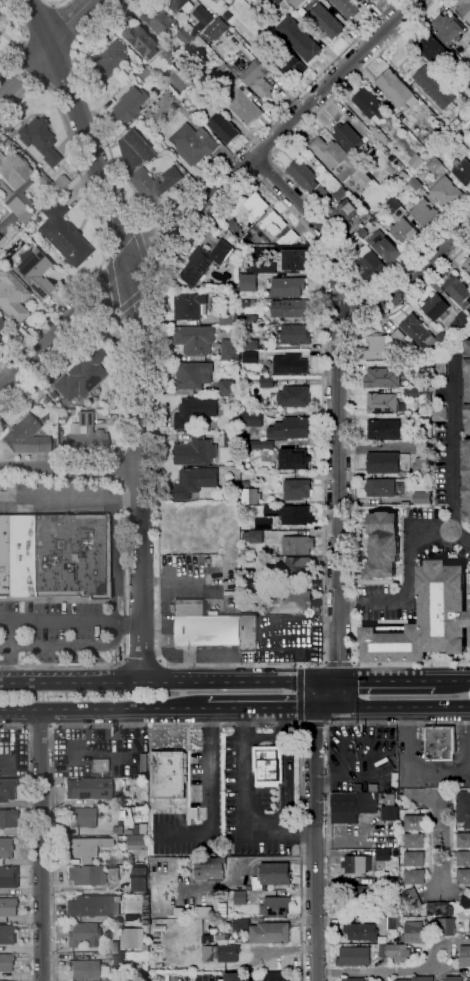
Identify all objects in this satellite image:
building: (215, 0)
building: (303, 0)
building: (306, 0)
building: (371, 0)
building: (373, 0)
road: (56, 2)
building: (206, 2)
building: (294, 2)
building: (271, 3)
building: (175, 5)
building: (296, 7)
building: (347, 7)
building: (464, 9)
building: (229, 16)
road: (39, 19)
road: (68, 19)
building: (154, 19)
building: (202, 19)
building: (324, 21)
building: (220, 26)
building: (448, 28)
road: (22, 32)
building: (186, 36)
building: (298, 39)
building: (137, 40)
building: (200, 40)
road: (46, 45)
building: (203, 45)
building: (469, 50)
building: (435, 52)
building: (167, 55)
building: (288, 63)
road: (28, 64)
building: (107, 67)
building: (465, 72)
building: (142, 73)
building: (189, 75)
building: (256, 75)
building: (227, 76)
road: (66, 86)
building: (469, 86)
building: (394, 88)
building: (205, 93)
building: (439, 94)
building: (170, 97)
building: (127, 105)
building: (370, 105)
building: (173, 106)
building: (244, 106)
building: (166, 114)
building: (465, 116)
building: (224, 128)
building: (379, 134)
building: (348, 137)
building: (39, 139)
building: (193, 144)
building: (456, 145)
building: (132, 149)
building: (391, 151)
building: (339, 161)
building: (416, 161)
building: (434, 165)
building: (457, 167)
road: (265, 168)
building: (15, 174)
building: (303, 175)
building: (403, 175)
building: (61, 181)
building: (48, 183)
building: (152, 183)
building: (415, 183)
road: (301, 191)
building: (402, 191)
building: (446, 192)
building: (321, 193)
road: (209, 194)
building: (341, 194)
building: (257, 205)
building: (393, 205)
road: (170, 209)
building: (345, 211)
road: (91, 213)
building: (424, 213)
building: (13, 216)
building: (274, 223)
road: (312, 224)
building: (234, 226)
road: (136, 228)
building: (404, 233)
building: (63, 235)
building: (2, 239)
building: (287, 239)
building: (232, 240)
road: (121, 244)
building: (384, 248)
road: (144, 253)
road: (105, 260)
building: (295, 260)
building: (205, 261)
building: (370, 264)
building: (466, 264)
building: (261, 266)
building: (33, 272)
road: (156, 275)
road: (411, 281)
building: (248, 283)
road: (112, 285)
building: (288, 287)
building: (457, 291)
road: (138, 294)
road: (336, 294)
building: (12, 296)
building: (246, 303)
building: (190, 305)
road: (355, 306)
building: (435, 307)
building: (291, 308)
building: (245, 311)
road: (116, 312)
road: (109, 313)
building: (227, 317)
building: (250, 321)
building: (459, 321)
building: (2, 323)
road: (140, 329)
building: (421, 332)
building: (294, 335)
building: (0, 338)
building: (195, 340)
building: (405, 342)
building: (250, 345)
building: (377, 348)
building: (229, 350)
building: (251, 357)
building: (291, 364)
building: (420, 370)
building: (81, 374)
building: (193, 375)
building: (382, 378)
building: (267, 382)
building: (467, 384)
building: (226, 387)
building: (413, 392)
building: (52, 394)
building: (294, 397)
building: (382, 403)
building: (194, 410)
building: (251, 418)
building: (420, 421)
building: (294, 428)
building: (384, 429)
building: (87, 436)
building: (25, 437)
building: (260, 442)
road: (451, 443)
building: (203, 449)
building: (425, 449)
road: (140, 452)
road: (339, 458)
building: (294, 459)
building: (382, 463)
road: (70, 467)
road: (120, 467)
building: (422, 467)
building: (410, 472)
building: (404, 475)
building: (407, 476)
building: (412, 477)
building: (466, 477)
road: (353, 478)
building: (195, 482)
building: (380, 487)
building: (406, 487)
road: (140, 490)
building: (297, 490)
building: (249, 497)
building: (422, 498)
road: (70, 504)
building: (294, 515)
building: (263, 524)
building: (244, 526)
building: (272, 534)
building: (251, 535)
road: (461, 535)
building: (268, 540)
building: (297, 545)
building: (382, 546)
building: (245, 552)
building: (53, 555)
road: (112, 561)
building: (298, 566)
road: (123, 572)
building: (255, 578)
building: (254, 587)
road: (409, 588)
building: (291, 602)
building: (445, 608)
road: (323, 610)
road: (71, 620)
building: (468, 624)
building: (204, 625)
road: (109, 632)
building: (249, 634)
building: (394, 639)
road: (54, 645)
road: (8, 649)
road: (140, 657)
road: (339, 661)
road: (352, 663)
road: (325, 664)
road: (338, 664)
road: (300, 666)
road: (452, 677)
road: (166, 678)
traffic signals: (333, 678)
road: (384, 678)
road: (300, 695)
traffic signals: (320, 710)
road: (395, 710)
road: (103, 711)
road: (263, 711)
road: (469, 717)
road: (285, 723)
road: (397, 724)
road: (314, 725)
road: (39, 727)
road: (51, 727)
building: (195, 734)
road: (264, 736)
building: (439, 743)
road: (185, 760)
building: (143, 764)
building: (100, 766)
building: (267, 766)
building: (384, 767)
road: (414, 770)
building: (167, 775)
road: (186, 775)
road: (285, 785)
building: (87, 788)
building: (6, 789)
road: (198, 792)
road: (210, 799)
building: (367, 803)
road: (243, 808)
building: (344, 808)
building: (463, 808)
building: (390, 813)
building: (80, 817)
building: (7, 818)
building: (414, 823)
road: (440, 823)
building: (144, 829)
road: (186, 829)
building: (117, 830)
building: (128, 831)
road: (28, 840)
building: (118, 840)
building: (463, 840)
building: (414, 841)
building: (137, 842)
road: (315, 844)
road: (41, 846)
building: (5, 848)
building: (85, 848)
road: (301, 851)
road: (329, 852)
building: (383, 854)
building: (414, 858)
building: (463, 858)
building: (123, 860)
building: (355, 865)
building: (174, 866)
building: (209, 868)
building: (112, 871)
building: (275, 874)
building: (85, 875)
building: (7, 876)
building: (463, 876)
building: (414, 877)
building: (139, 879)
building: (262, 888)
road: (84, 890)
building: (250, 893)
building: (239, 897)
building: (361, 897)
building: (412, 899)
building: (465, 900)
building: (93, 905)
building: (7, 906)
building: (277, 907)
building: (440, 909)
building: (232, 911)
building: (392, 913)
building: (142, 919)
building: (411, 919)
building: (393, 923)
building: (241, 926)
building: (442, 926)
building: (213, 932)
building: (362, 932)
building: (269, 933)
building: (412, 933)
building: (6, 934)
building: (83, 935)
building: (135, 938)
building: (113, 946)
building: (395, 952)
building: (226, 953)
building: (354, 956)
building: (465, 957)
building: (118, 958)
building: (5, 961)
building: (83, 969)
road: (381, 970)
building: (257, 974)
building: (234, 977)
building: (277, 977)
building: (423, 978)
building: (354, 979)
building: (448, 979)
building: (402, 980)

